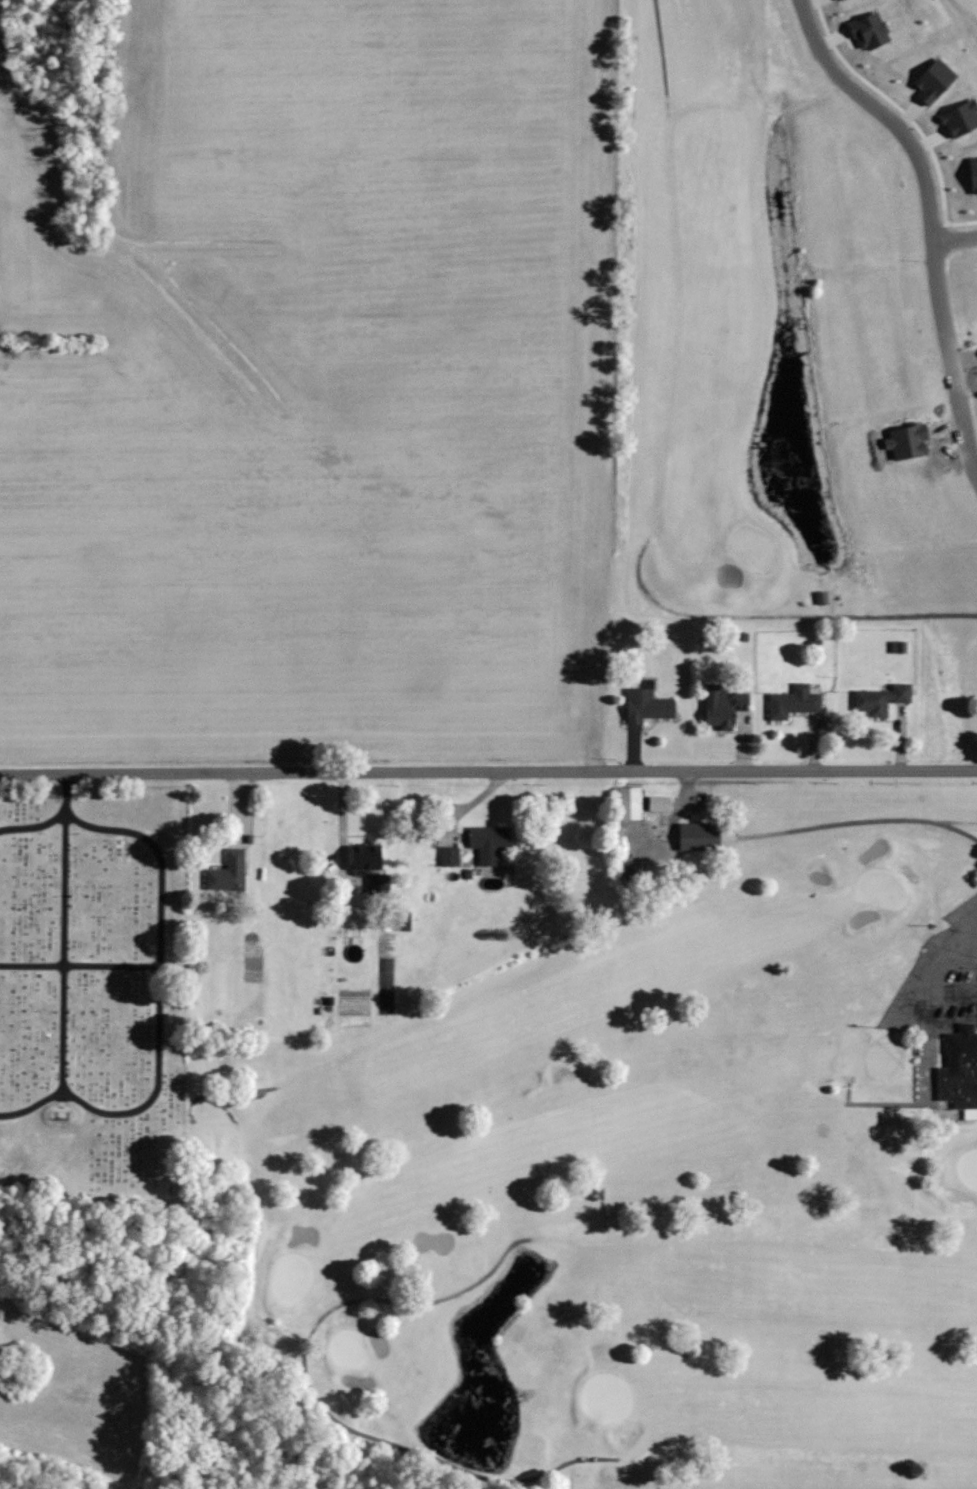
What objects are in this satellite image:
road: (662, 58)
road: (930, 217)
road: (955, 239)
park: (796, 310)
park: (753, 547)
road: (780, 615)
building: (882, 700)
building: (795, 703)
building: (648, 706)
building: (725, 707)
road: (488, 770)
building: (630, 803)
building: (659, 804)
building: (700, 837)
building: (490, 843)
building: (450, 857)
building: (367, 859)
building: (229, 873)
park: (886, 884)
park: (91, 996)
road: (900, 1022)
building: (960, 1071)
road: (873, 1101)
park: (972, 1166)
park: (639, 1184)
park: (607, 1394)
road: (314, 1397)

